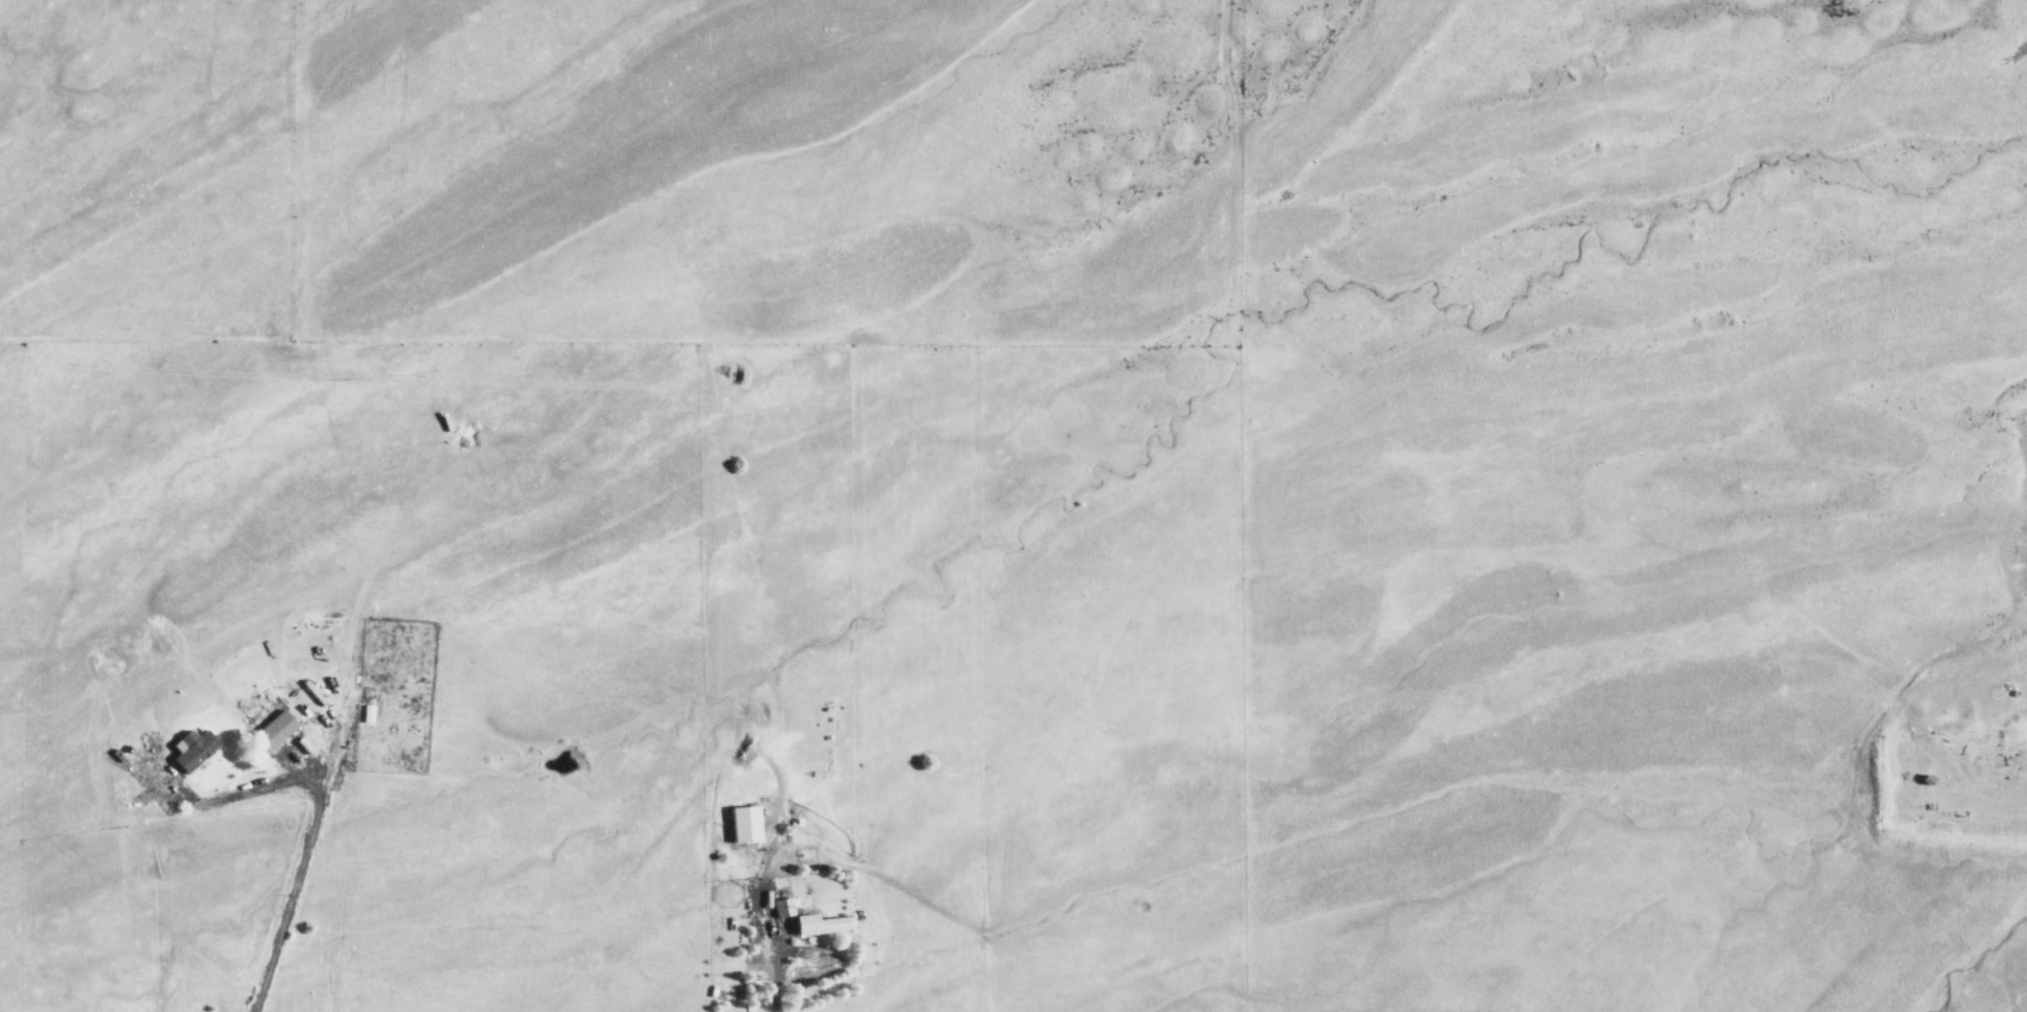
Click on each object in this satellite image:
building: (273, 728)
building: (191, 748)
building: (744, 822)
road: (280, 903)
building: (781, 906)
building: (819, 922)
road: (768, 979)

